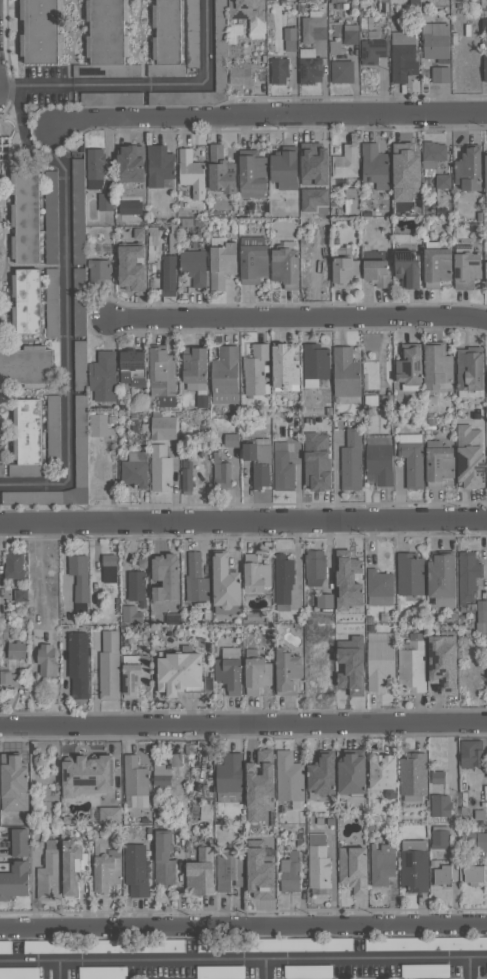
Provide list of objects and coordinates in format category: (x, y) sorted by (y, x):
building: (366, 3)
building: (435, 8)
building: (249, 12)
building: (484, 25)
building: (315, 26)
building: (43, 30)
building: (351, 33)
building: (175, 37)
building: (290, 38)
building: (437, 40)
building: (109, 41)
building: (221, 45)
building: (335, 46)
building: (374, 51)
building: (404, 56)
building: (311, 66)
building: (485, 68)
building: (280, 70)
building: (343, 72)
building: (241, 73)
building: (442, 74)
road: (180, 83)
road: (35, 85)
building: (112, 98)
road: (268, 115)
road: (23, 137)
building: (0, 152)
building: (434, 154)
building: (317, 162)
building: (347, 162)
building: (132, 163)
building: (161, 165)
building: (377, 166)
building: (96, 167)
building: (287, 169)
building: (471, 169)
building: (223, 170)
building: (408, 171)
building: (192, 173)
building: (254, 173)
building: (444, 181)
building: (486, 195)
building: (314, 198)
building: (352, 200)
building: (106, 201)
building: (131, 207)
building: (79, 210)
building: (27, 214)
building: (51, 217)
building: (140, 233)
building: (255, 259)
building: (439, 264)
building: (224, 265)
building: (195, 266)
building: (287, 266)
building: (134, 267)
building: (468, 267)
building: (410, 268)
building: (347, 271)
building: (99, 272)
building: (379, 272)
building: (485, 272)
building: (169, 275)
building: (29, 301)
building: (52, 302)
building: (79, 302)
road: (296, 317)
road: (67, 356)
building: (80, 364)
building: (316, 364)
building: (439, 365)
building: (27, 366)
building: (134, 367)
building: (197, 367)
building: (288, 367)
building: (412, 367)
building: (472, 369)
building: (486, 369)
building: (256, 370)
building: (226, 375)
building: (347, 375)
building: (104, 376)
building: (164, 377)
building: (102, 424)
building: (164, 427)
building: (53, 429)
building: (29, 439)
building: (232, 440)
building: (81, 441)
building: (413, 458)
building: (471, 458)
building: (352, 460)
building: (380, 460)
building: (260, 461)
building: (318, 461)
building: (440, 463)
building: (161, 468)
building: (283, 468)
building: (136, 469)
building: (1, 470)
building: (222, 472)
building: (187, 475)
road: (243, 521)
building: (15, 565)
building: (316, 567)
building: (110, 568)
building: (411, 572)
building: (257, 573)
building: (469, 574)
building: (80, 576)
building: (168, 577)
building: (284, 578)
building: (445, 578)
building: (197, 579)
building: (350, 580)
building: (228, 585)
building: (137, 587)
building: (380, 587)
building: (22, 595)
building: (324, 600)
building: (292, 602)
building: (132, 614)
building: (482, 616)
building: (17, 650)
building: (47, 660)
building: (381, 660)
building: (446, 662)
building: (79, 663)
building: (354, 664)
building: (413, 664)
building: (110, 665)
building: (231, 669)
building: (289, 670)
building: (182, 671)
building: (258, 671)
building: (136, 673)
building: (8, 677)
road: (243, 725)
building: (472, 753)
building: (175, 759)
building: (385, 771)
building: (355, 772)
building: (90, 775)
building: (162, 775)
building: (324, 777)
building: (414, 777)
building: (439, 777)
building: (230, 778)
building: (291, 779)
building: (136, 781)
building: (262, 785)
building: (442, 805)
building: (18, 808)
building: (205, 812)
building: (111, 815)
building: (68, 819)
building: (440, 837)
building: (474, 841)
building: (21, 842)
building: (166, 859)
building: (319, 861)
building: (435, 862)
building: (383, 864)
building: (415, 865)
building: (76, 866)
building: (107, 866)
building: (355, 868)
building: (136, 869)
building: (230, 869)
building: (263, 870)
building: (291, 872)
building: (50, 873)
building: (202, 873)
building: (444, 874)
building: (475, 874)
building: (15, 879)
road: (243, 926)
building: (426, 943)
building: (275, 944)
building: (106, 945)
road: (243, 962)
road: (467, 969)
road: (263, 970)
building: (309, 970)
building: (427, 970)
building: (222, 971)
road: (57, 972)
building: (104, 972)
building: (20, 973)

